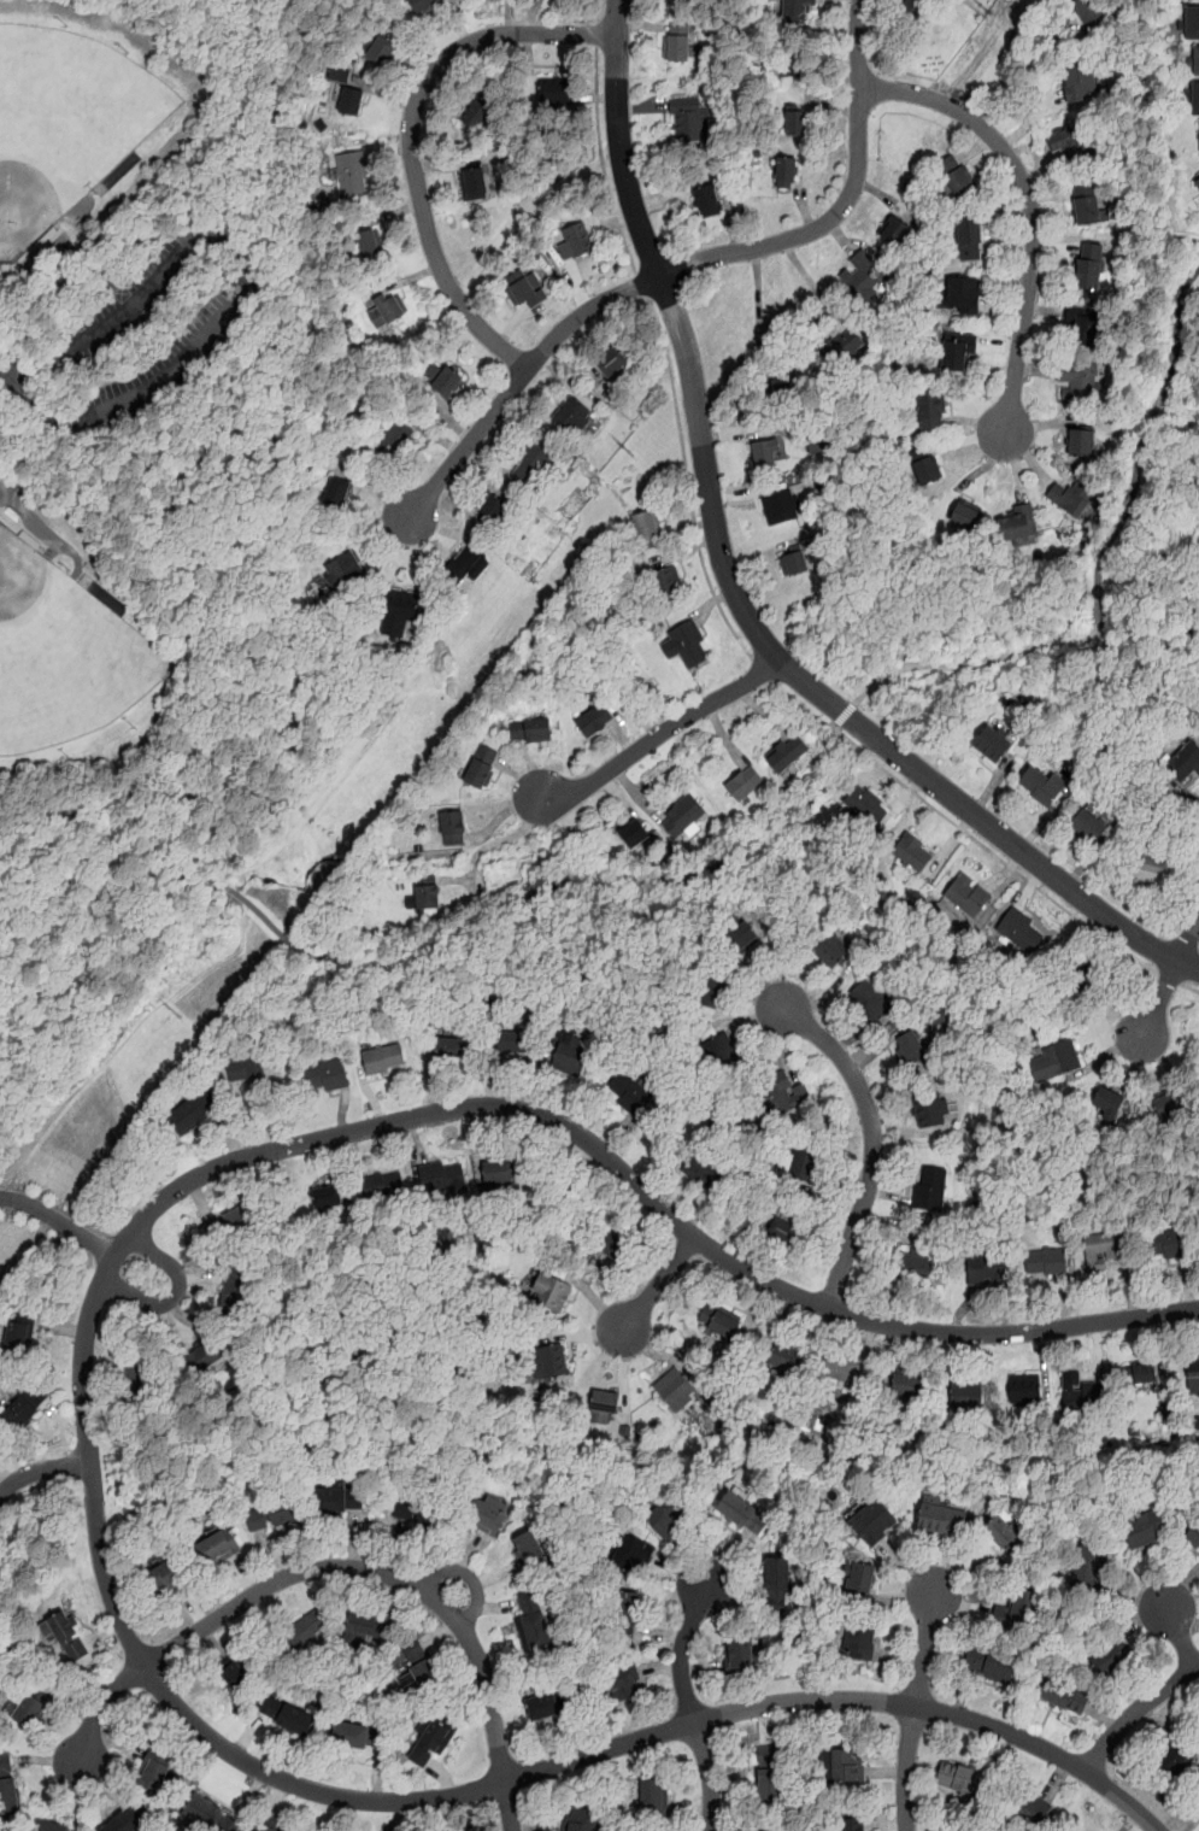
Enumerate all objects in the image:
building: (425, 5)
building: (916, 7)
power tower: (982, 7)
road: (598, 10)
building: (797, 10)
building: (1089, 14)
building: (1192, 23)
road: (598, 33)
building: (681, 51)
building: (380, 52)
building: (794, 60)
building: (1195, 60)
road: (1023, 69)
building: (1078, 83)
building: (554, 93)
building: (1195, 99)
building: (351, 102)
park: (71, 112)
building: (476, 112)
building: (689, 121)
building: (795, 122)
road: (410, 137)
building: (1071, 142)
road: (603, 160)
building: (786, 170)
building: (351, 175)
building: (954, 176)
building: (480, 182)
building: (1197, 184)
building: (707, 199)
road: (845, 201)
building: (1088, 204)
road: (1032, 212)
road: (254, 217)
building: (894, 230)
building: (969, 239)
building: (574, 242)
building: (364, 246)
road: (53, 248)
road: (240, 248)
road: (93, 256)
building: (1087, 265)
road: (268, 266)
building: (860, 271)
road: (5, 278)
road: (641, 283)
building: (522, 287)
building: (964, 294)
building: (382, 312)
parking lot: (163, 323)
building: (1081, 324)
building: (957, 350)
building: (837, 352)
building: (611, 362)
road: (517, 378)
building: (446, 381)
building: (1081, 381)
building: (783, 387)
road: (37, 393)
building: (929, 411)
building: (571, 417)
road: (272, 433)
road: (1148, 436)
building: (394, 438)
building: (1081, 442)
power tower: (627, 452)
building: (766, 452)
road: (28, 459)
building: (533, 463)
building: (924, 469)
park: (160, 477)
road: (687, 482)
building: (337, 489)
building: (1070, 495)
building: (781, 505)
building: (490, 509)
building: (964, 515)
building: (1017, 522)
building: (646, 524)
road: (48, 534)
road: (51, 547)
building: (794, 559)
building: (465, 565)
building: (346, 570)
building: (665, 581)
road: (734, 589)
road: (1095, 610)
building: (398, 614)
building: (686, 644)
park: (67, 661)
road: (976, 662)
road: (762, 670)
road: (1025, 674)
road: (801, 704)
road: (844, 714)
building: (594, 720)
building: (530, 730)
road: (659, 733)
building: (993, 741)
building: (786, 751)
building: (1186, 761)
building: (481, 765)
building: (744, 781)
building: (1040, 784)
building: (865, 803)
building: (681, 815)
building: (1087, 824)
building: (453, 827)
building: (633, 833)
road: (490, 841)
building: (912, 851)
road: (1009, 865)
building: (1152, 868)
building: (427, 891)
building: (968, 894)
building: (1021, 929)
building: (741, 937)
road: (1189, 939)
road: (447, 941)
building: (830, 947)
building: (1082, 974)
road: (1169, 979)
building: (710, 987)
road: (1189, 987)
building: (870, 1000)
road: (1159, 1000)
power tower: (176, 1013)
building: (510, 1040)
building: (909, 1046)
building: (452, 1047)
building: (721, 1051)
building: (571, 1054)
building: (383, 1057)
building: (1053, 1061)
building: (245, 1067)
building: (325, 1075)
building: (625, 1086)
building: (781, 1096)
building: (1107, 1102)
building: (1163, 1105)
building: (931, 1110)
building: (193, 1113)
road: (874, 1142)
building: (803, 1163)
building: (701, 1168)
building: (505, 1176)
building: (442, 1179)
building: (930, 1186)
building: (383, 1187)
building: (327, 1197)
road: (200, 1199)
road: (58, 1221)
building: (231, 1222)
building: (783, 1230)
building: (1171, 1242)
building: (611, 1245)
building: (1101, 1249)
building: (1045, 1262)
building: (913, 1263)
building: (987, 1269)
road: (204, 1275)
road: (657, 1285)
building: (234, 1292)
road: (176, 1293)
building: (551, 1293)
road: (189, 1318)
building: (719, 1321)
road: (59, 1328)
building: (16, 1332)
building: (204, 1354)
building: (784, 1356)
building: (548, 1362)
road: (102, 1366)
building: (840, 1372)
building: (1138, 1373)
building: (1193, 1374)
building: (135, 1383)
building: (907, 1385)
building: (674, 1387)
building: (1024, 1389)
building: (1080, 1391)
building: (966, 1392)
building: (22, 1407)
building: (604, 1407)
road: (64, 1419)
road: (84, 1419)
road: (41, 1469)
road: (5, 1479)
building: (336, 1495)
building: (418, 1510)
building: (741, 1512)
building: (271, 1514)
building: (486, 1514)
building: (664, 1514)
building: (942, 1518)
building: (874, 1521)
building: (1146, 1531)
building: (1006, 1534)
building: (1193, 1534)
road: (354, 1537)
building: (217, 1545)
road: (398, 1547)
building: (528, 1549)
road: (472, 1551)
building: (630, 1551)
road: (723, 1554)
road: (268, 1555)
road: (692, 1557)
road: (343, 1567)
building: (1088, 1567)
road: (680, 1569)
road: (496, 1573)
road: (242, 1574)
building: (161, 1575)
building: (862, 1577)
road: (469, 1578)
building: (776, 1580)
road: (302, 1592)
road: (395, 1598)
road: (735, 1600)
road: (498, 1606)
road: (194, 1607)
building: (1016, 1609)
building: (623, 1614)
building: (535, 1624)
building: (365, 1627)
building: (300, 1630)
road: (1179, 1632)
building: (64, 1633)
road: (439, 1633)
road: (104, 1635)
road: (658, 1635)
building: (858, 1641)
road: (216, 1643)
road: (925, 1644)
road: (681, 1651)
building: (740, 1651)
park: (2, 1654)
building: (1107, 1660)
building: (986, 1662)
road: (659, 1665)
building: (416, 1666)
road: (703, 1668)
building: (237, 1672)
building: (622, 1680)
building: (1064, 1695)
building: (552, 1701)
building: (30, 1702)
road: (74, 1704)
building: (284, 1712)
road: (1135, 1713)
road: (765, 1725)
road: (580, 1731)
road: (248, 1733)
building: (357, 1733)
building: (429, 1739)
road: (122, 1745)
road: (48, 1760)
building: (1171, 1762)
building: (844, 1765)
road: (904, 1768)
building: (158, 1772)
road: (377, 1773)
road: (443, 1774)
road: (710, 1774)
building: (768, 1776)
building: (960, 1778)
road: (108, 1783)
building: (8, 1788)
road: (78, 1796)
building: (652, 1796)
building: (1033, 1809)
road: (689, 1811)
road: (466, 1812)
building: (207, 1813)
road: (396, 1817)
building: (128, 1819)
building: (582, 1819)
building: (851, 1825)
building: (48, 1826)
road: (540, 1826)
building: (263, 1830)
building: (1078, 1830)

